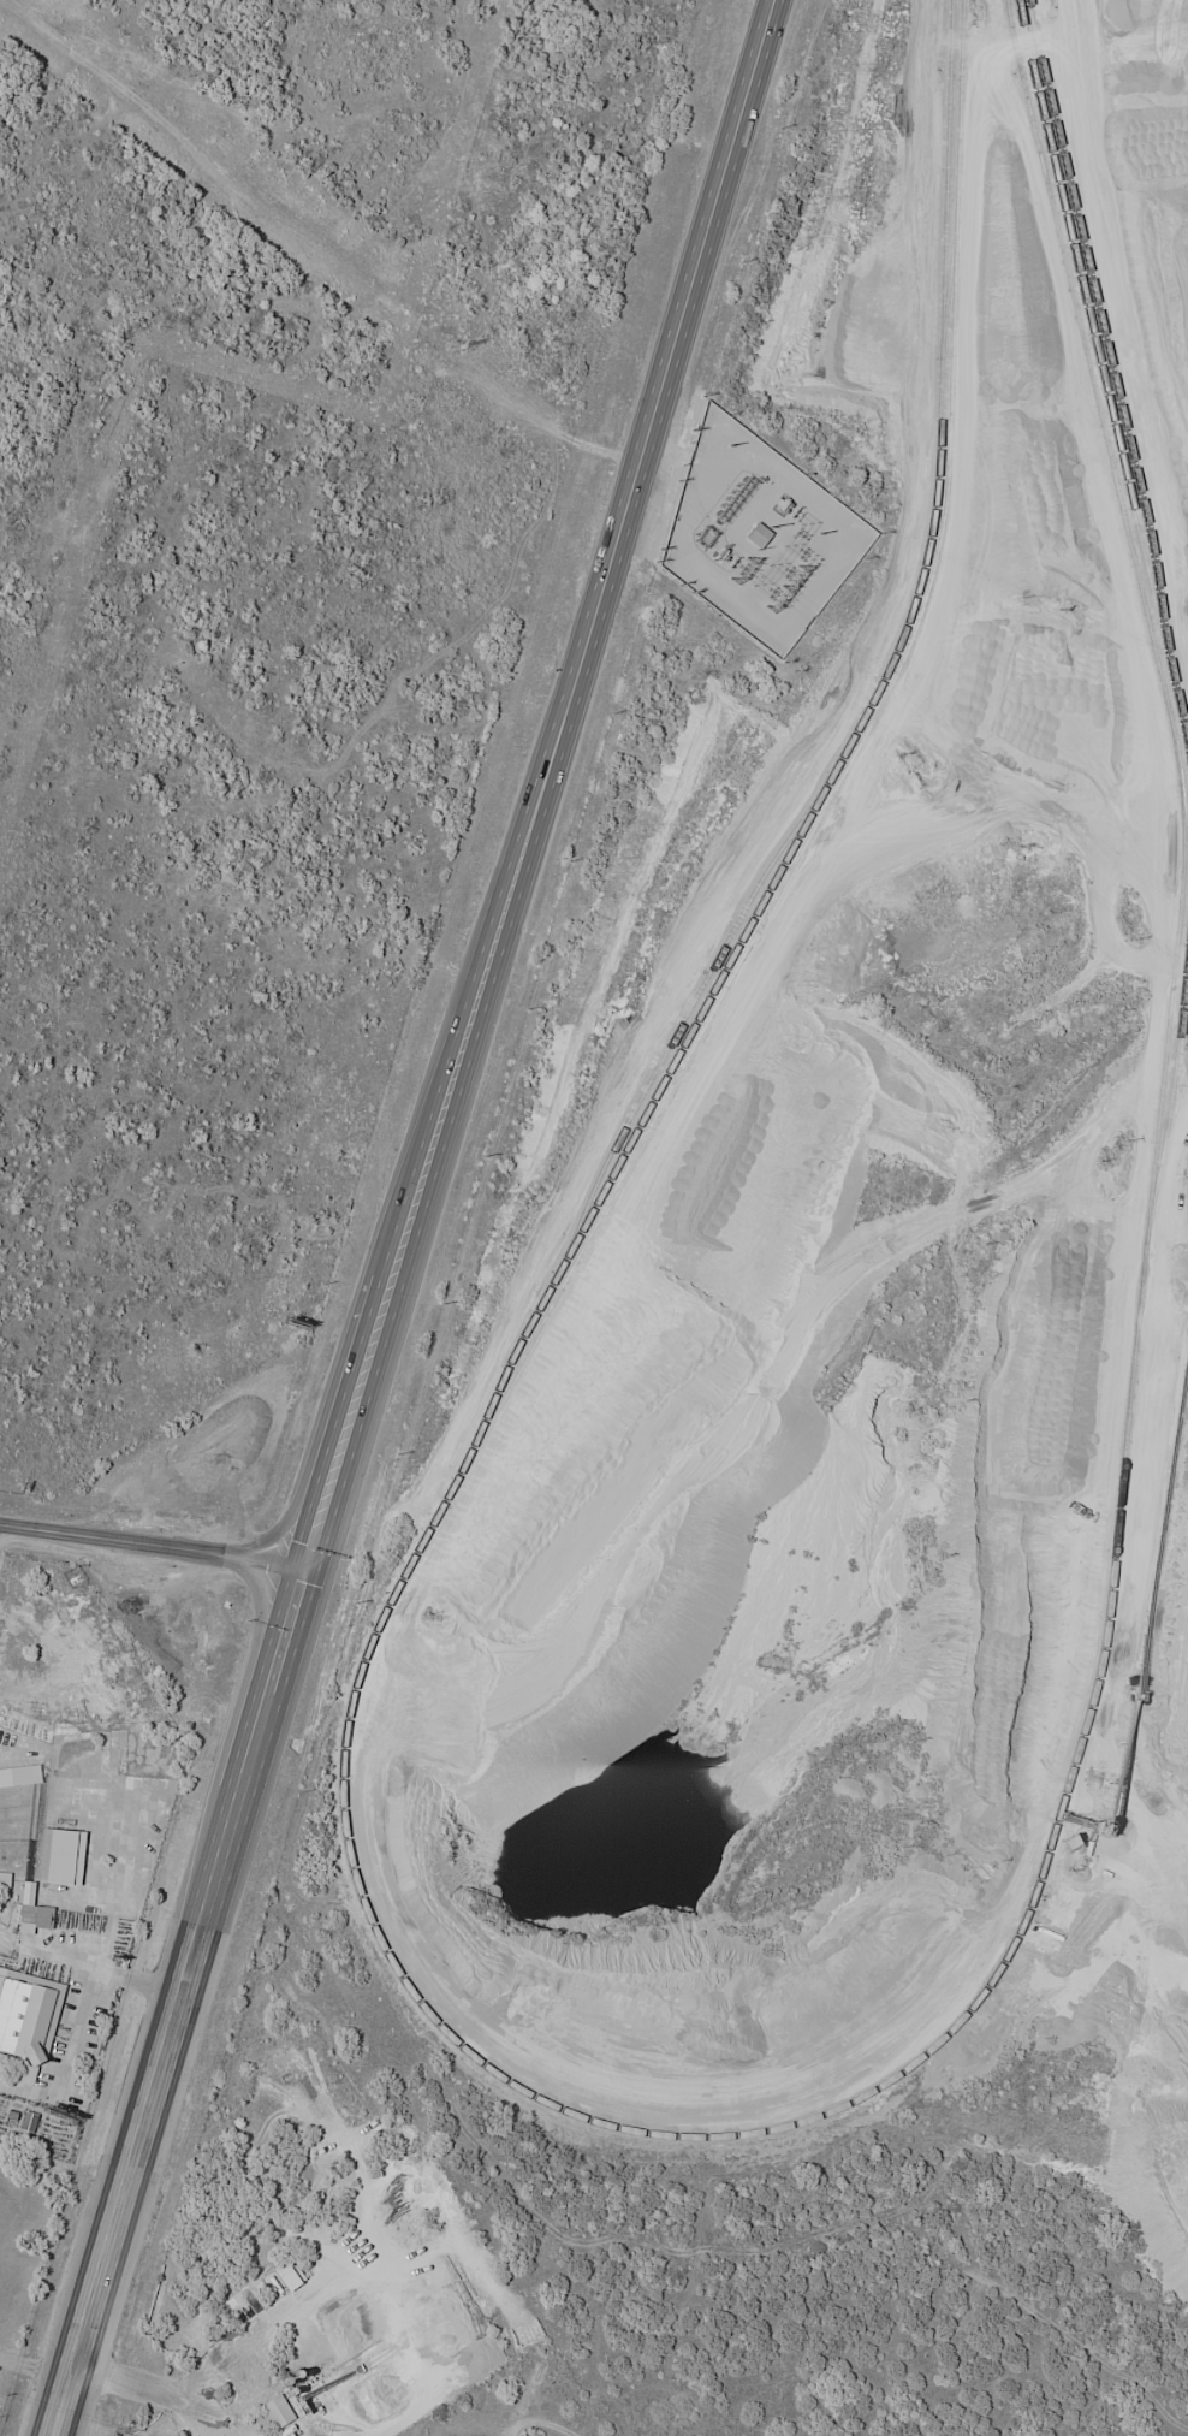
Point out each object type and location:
road: (1070, 8)
road: (981, 36)
power tower: (451, 345)
railway: (1106, 354)
railway: (1101, 373)
power substation: (755, 534)
road: (540, 784)
quarry: (868, 1270)
road: (153, 1545)
traffic signals: (307, 1569)
building: (20, 1778)
building: (61, 1857)
road: (100, 1879)
building: (32, 1912)
road: (85, 1975)
road: (183, 2003)
building: (26, 2021)
railway: (636, 2133)
road: (356, 2276)
road: (36, 2367)
road: (131, 2378)
building: (277, 2413)
road: (185, 2417)
road: (539, 2424)

